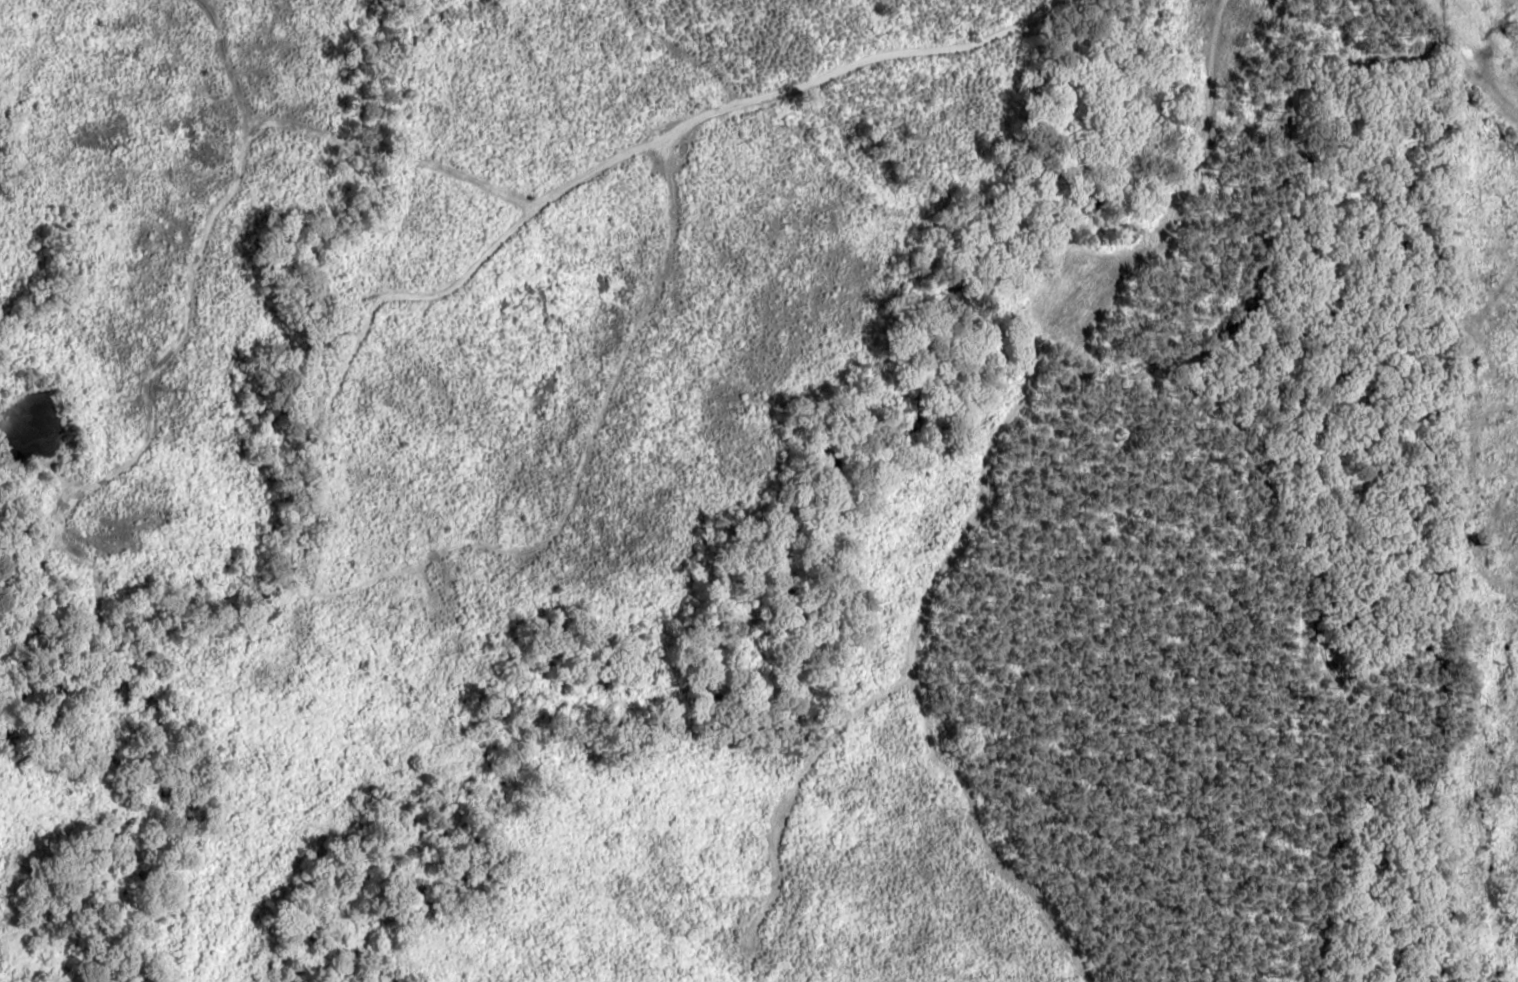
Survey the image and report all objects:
power tower: (1514, 36)

